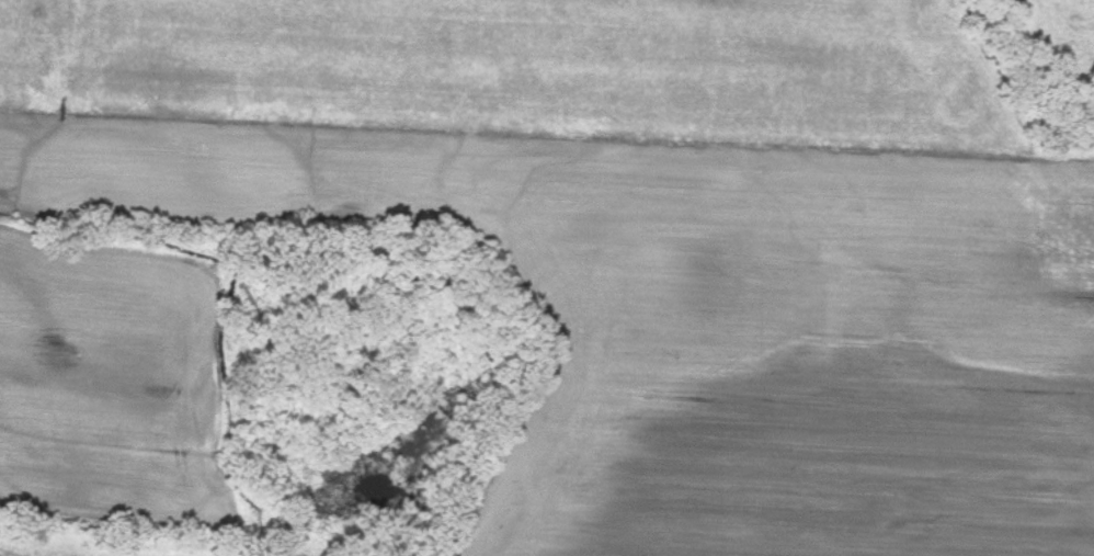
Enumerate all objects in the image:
crop: (708, 324)
crop: (102, 385)

